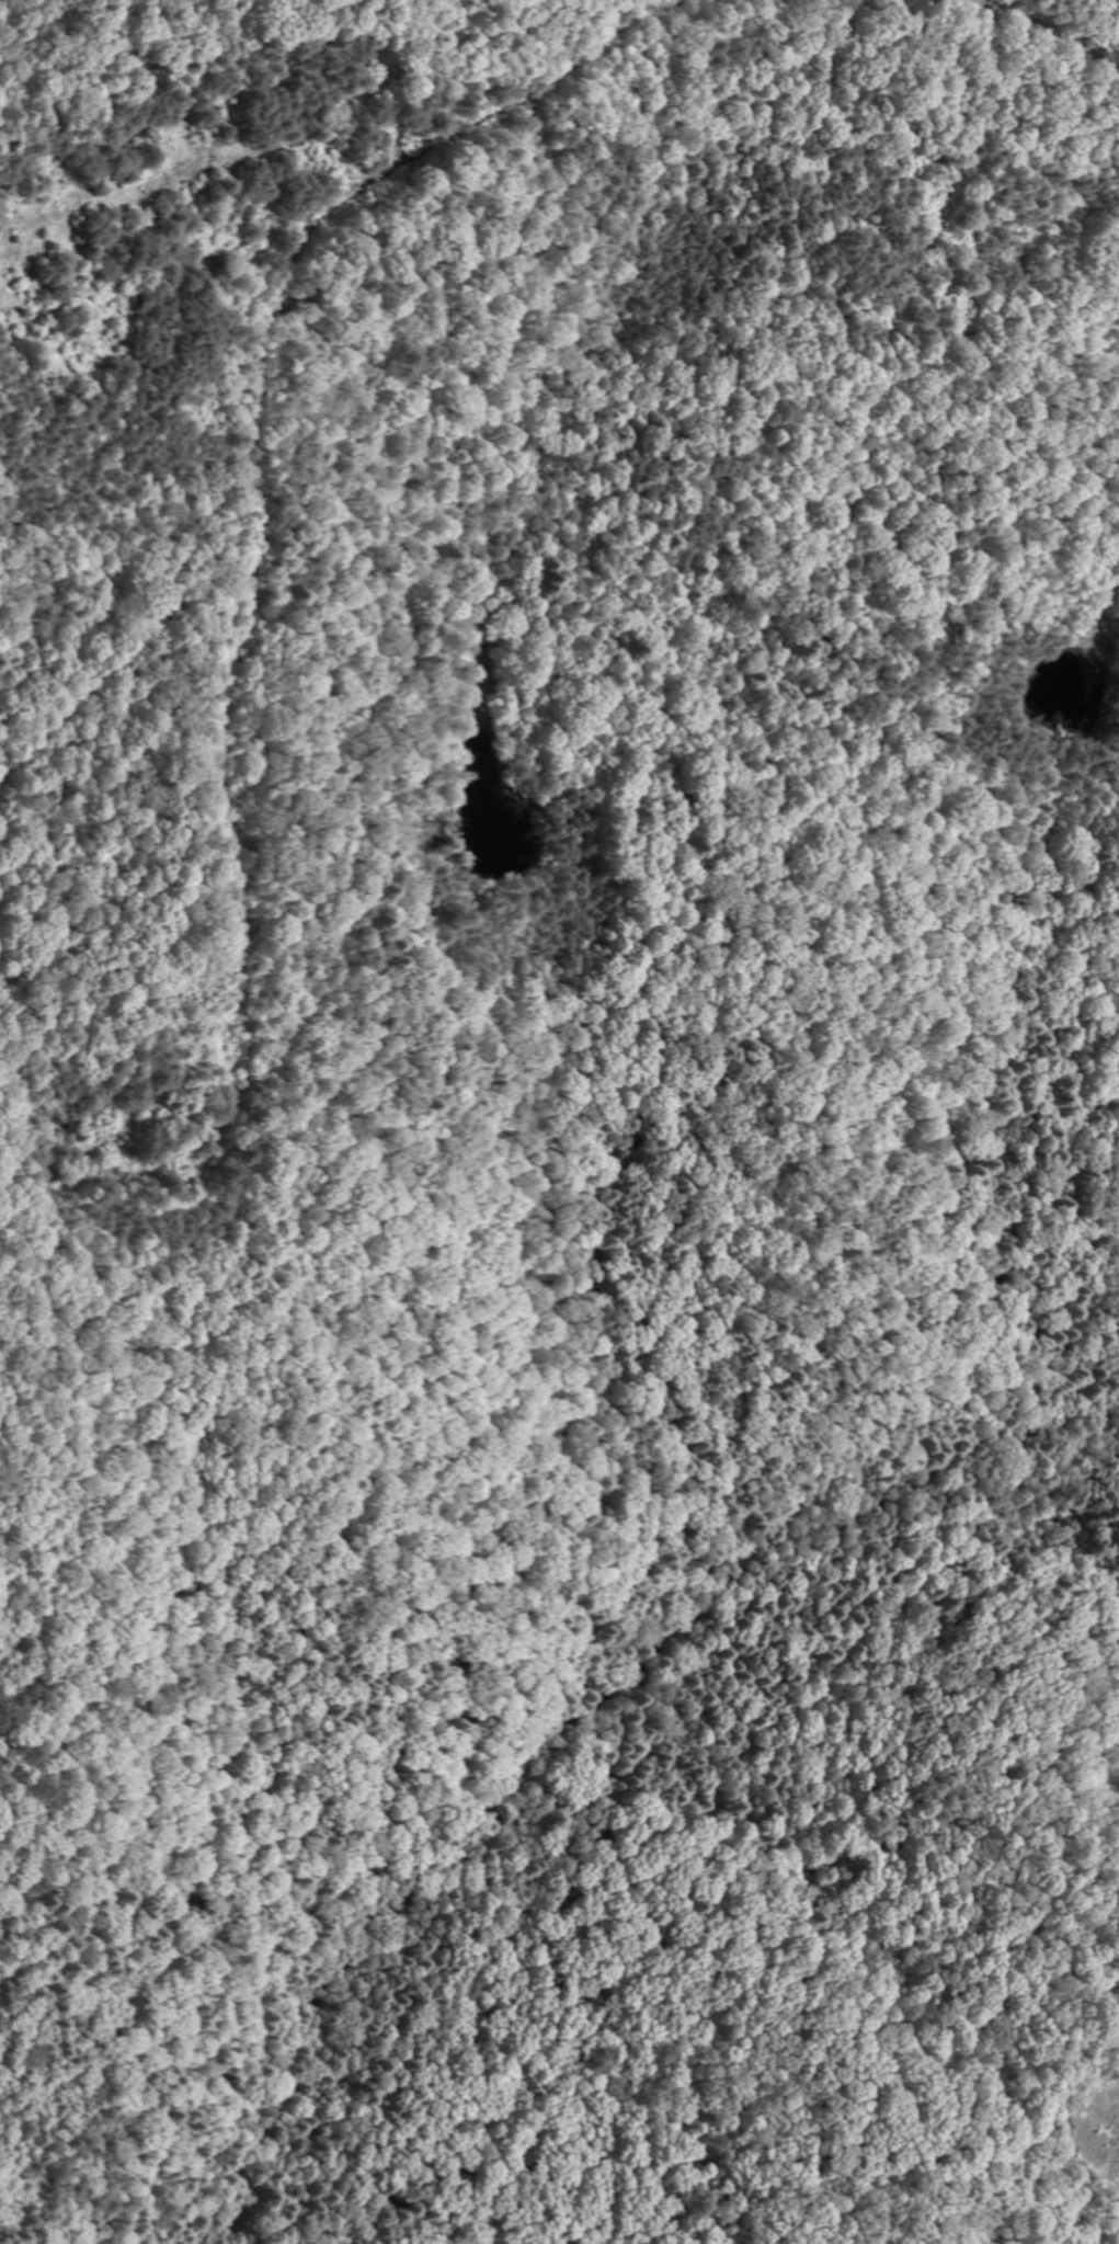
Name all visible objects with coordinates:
road: (1042, 29)
road: (199, 306)

